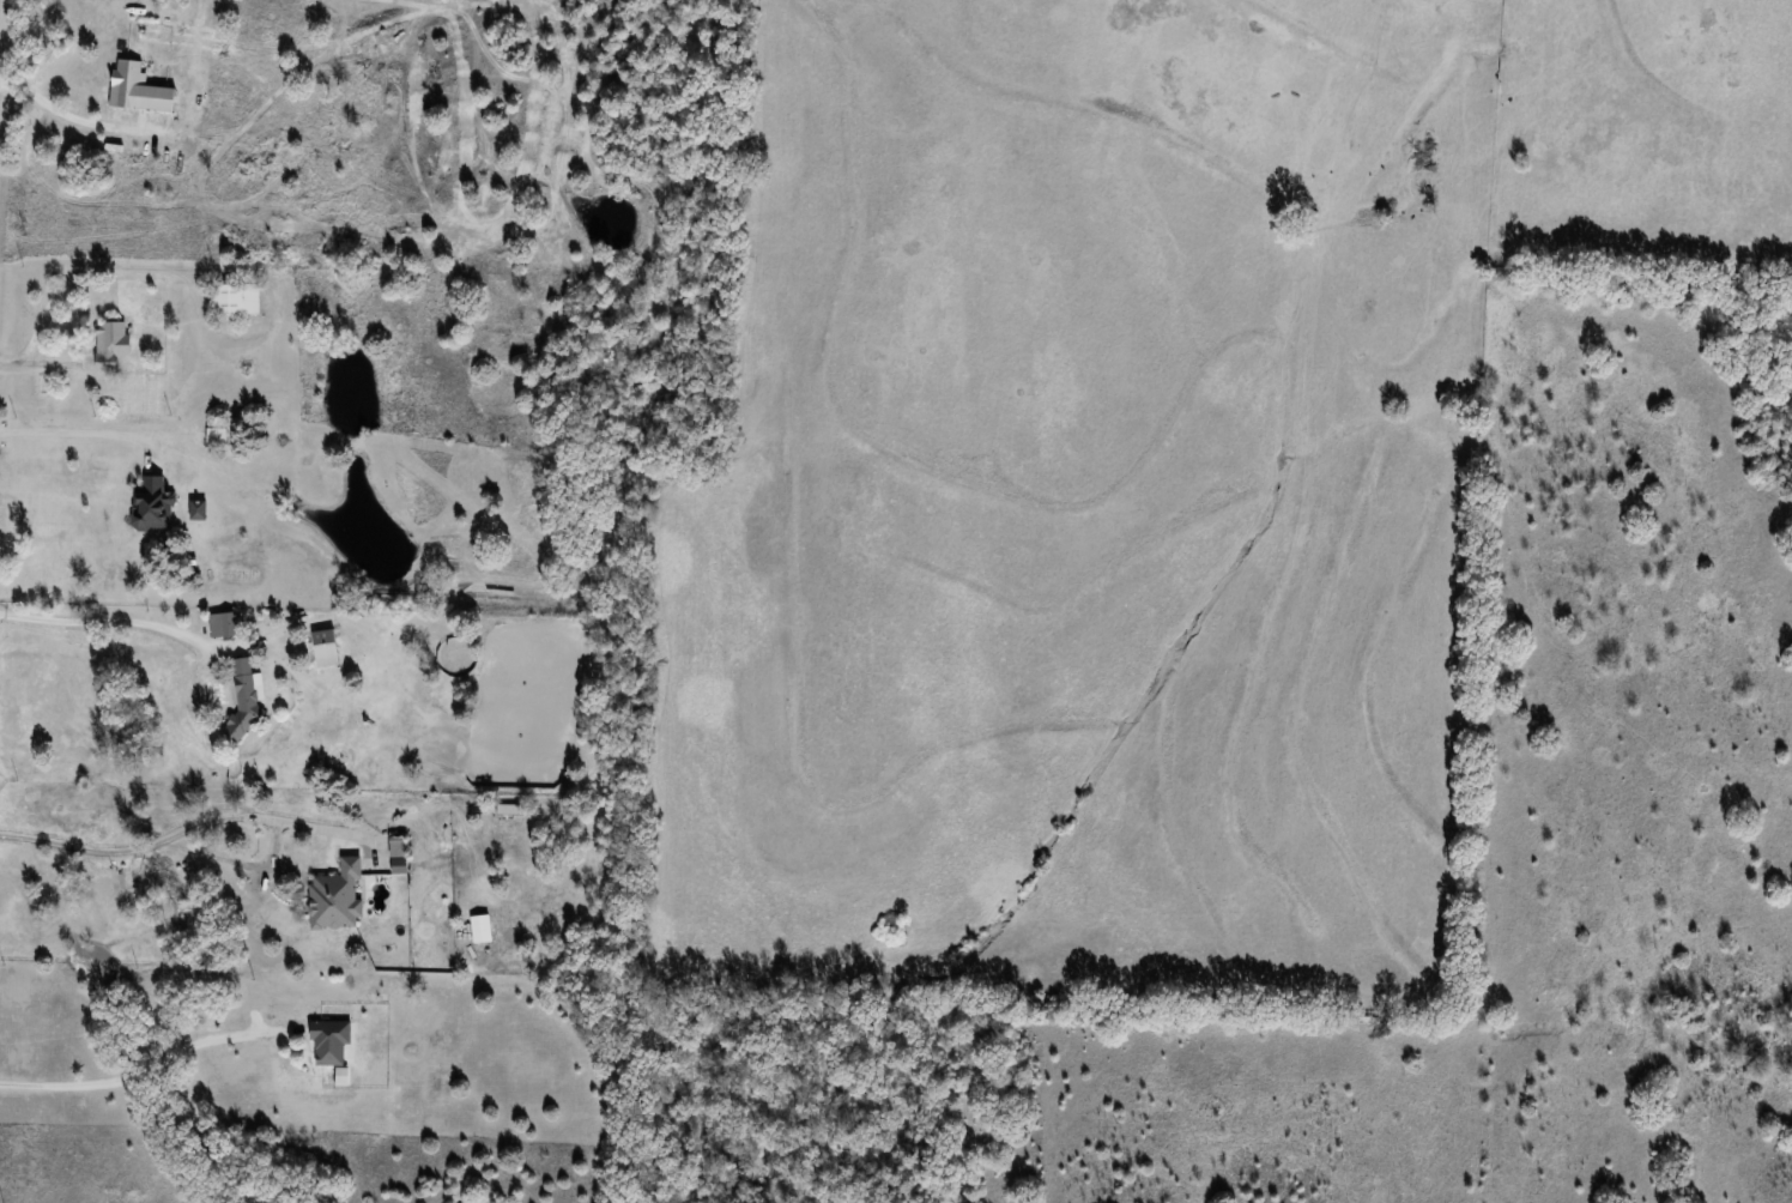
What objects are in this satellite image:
building: (234, 300)
building: (109, 344)
road: (77, 433)
building: (150, 504)
road: (120, 618)
building: (223, 624)
building: (322, 648)
building: (242, 700)
road: (192, 828)
building: (395, 847)
building: (334, 899)
building: (327, 1041)
road: (146, 1068)

